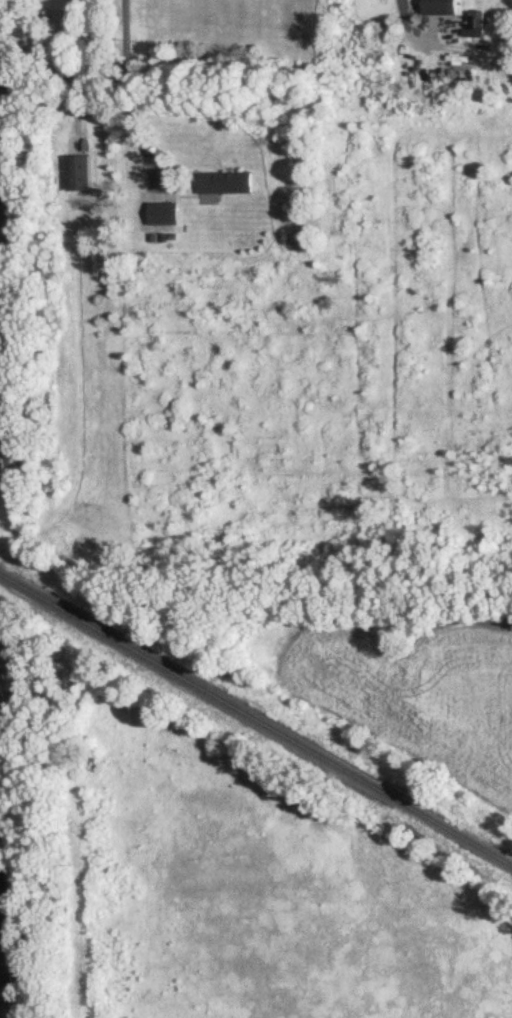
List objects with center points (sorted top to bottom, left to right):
building: (440, 7)
building: (474, 24)
road: (402, 27)
road: (128, 92)
building: (77, 173)
building: (225, 182)
building: (3, 189)
building: (163, 214)
railway: (256, 724)
road: (11, 955)

